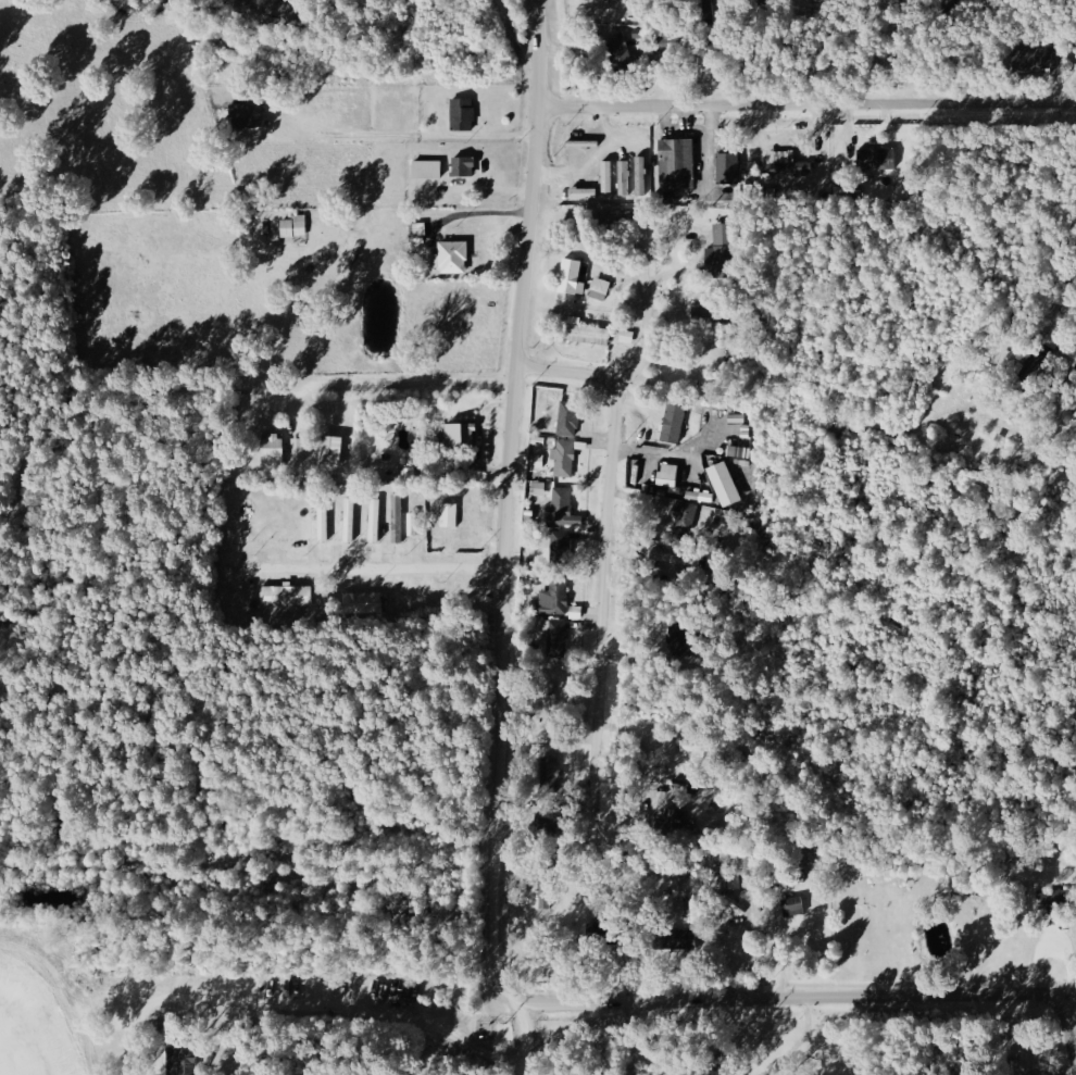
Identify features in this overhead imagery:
road: (809, 103)
building: (461, 113)
building: (245, 115)
road: (490, 136)
building: (874, 158)
building: (675, 162)
building: (786, 162)
building: (461, 166)
building: (725, 166)
building: (424, 168)
building: (606, 176)
building: (624, 177)
building: (849, 190)
building: (666, 197)
building: (292, 226)
building: (449, 257)
building: (570, 277)
building: (598, 288)
road: (646, 318)
building: (583, 332)
building: (625, 336)
road: (398, 385)
building: (566, 418)
building: (671, 423)
building: (456, 435)
building: (329, 451)
road: (653, 451)
building: (271, 452)
building: (562, 458)
building: (634, 473)
building: (666, 475)
building: (724, 485)
building: (537, 488)
building: (561, 509)
building: (448, 515)
building: (397, 517)
building: (349, 520)
building: (374, 520)
building: (322, 521)
road: (609, 535)
building: (559, 546)
building: (665, 557)
road: (378, 575)
building: (285, 596)
building: (553, 598)
building: (362, 602)
building: (555, 637)
building: (550, 772)
road: (500, 780)
building: (674, 820)
building: (790, 907)
building: (673, 938)
road: (1067, 1028)
road: (530, 1039)
building: (191, 1059)
building: (1025, 1063)

